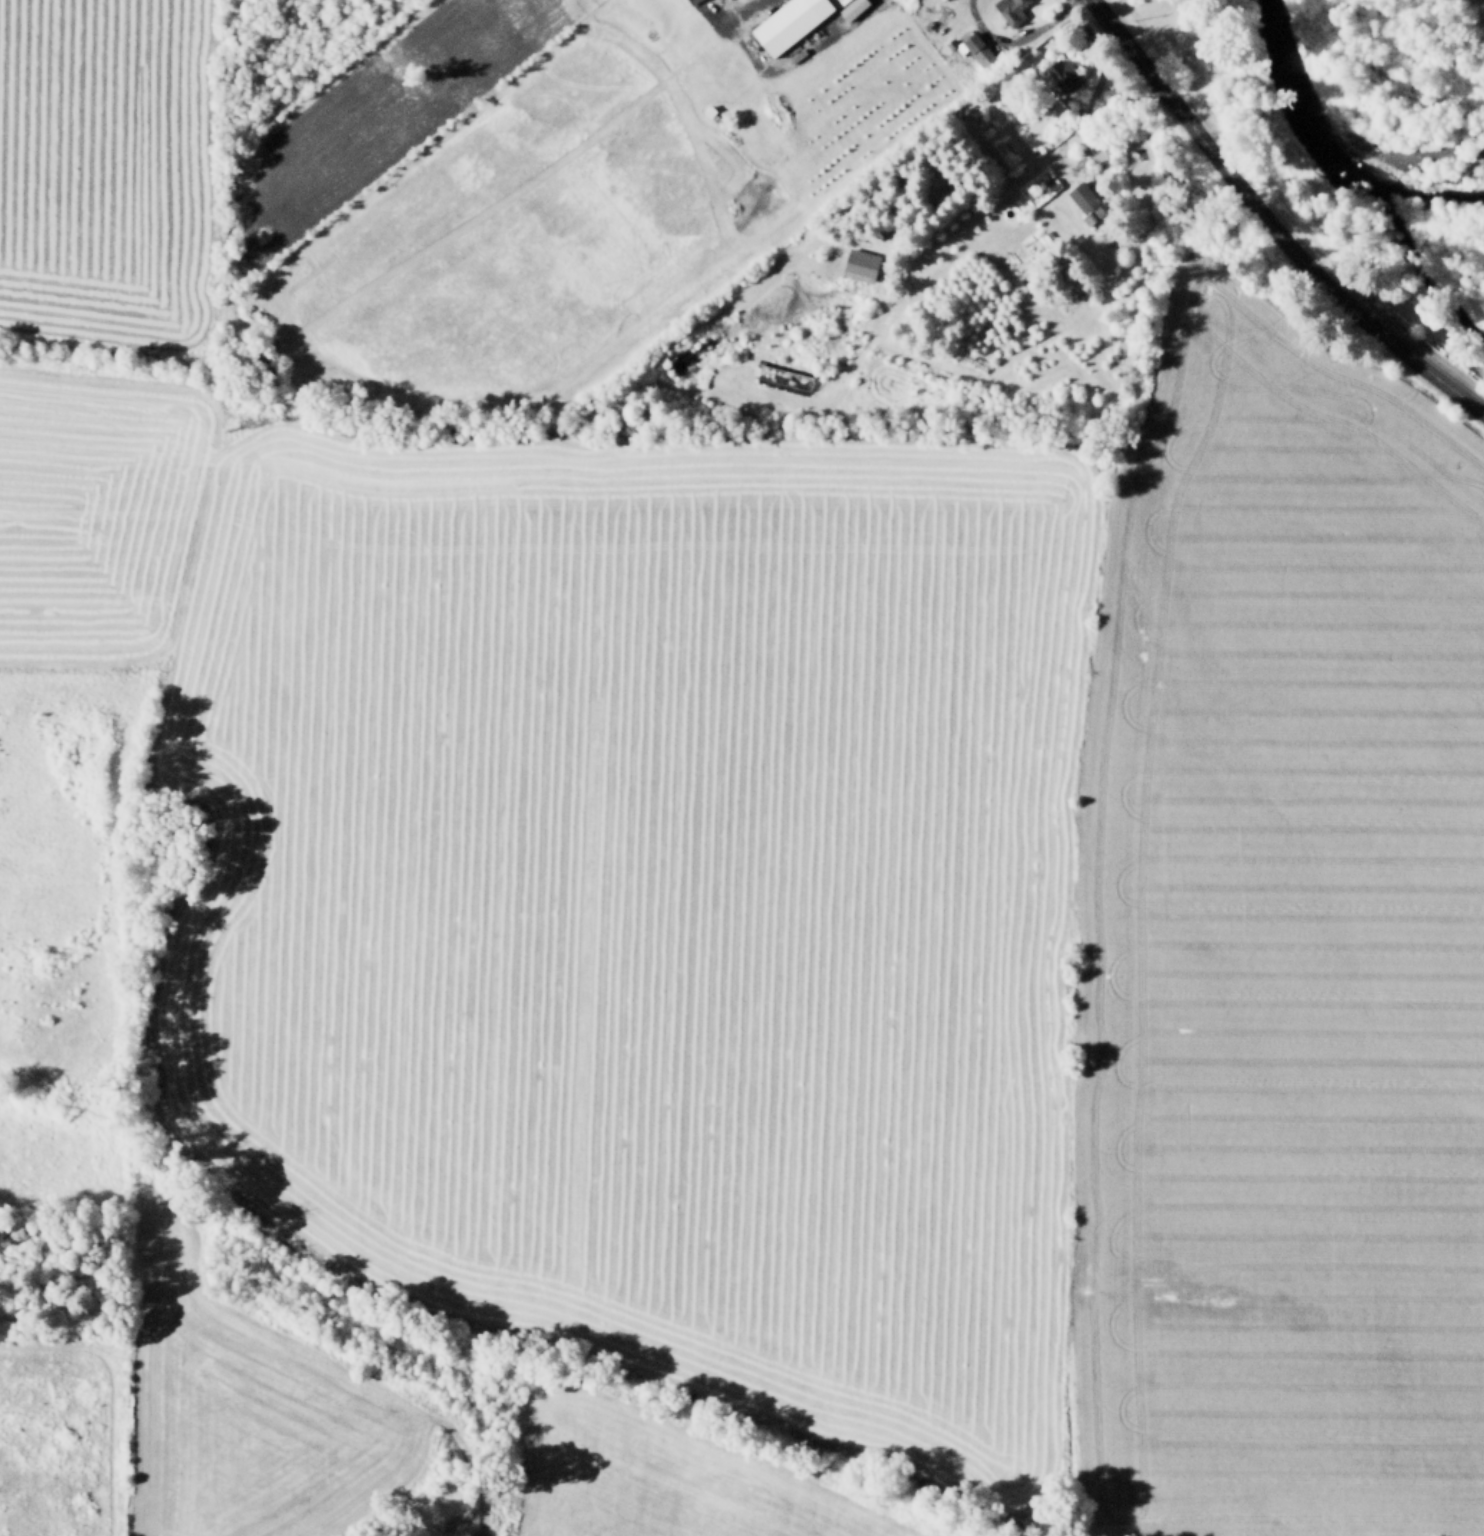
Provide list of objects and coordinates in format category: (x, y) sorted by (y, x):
building: (840, 0)
building: (940, 0)
building: (942, 0)
building: (692, 1)
building: (847, 9)
road: (722, 10)
building: (1009, 10)
building: (788, 21)
building: (950, 41)
building: (977, 49)
road: (784, 63)
building: (1059, 75)
building: (703, 112)
road: (1082, 112)
building: (714, 116)
building: (1097, 149)
river: (1337, 156)
crop: (104, 174)
building: (1081, 198)
road: (1270, 222)
crop: (506, 236)
building: (1043, 242)
building: (853, 265)
building: (783, 378)
crop: (96, 509)
crop: (644, 902)
crop: (1274, 956)

